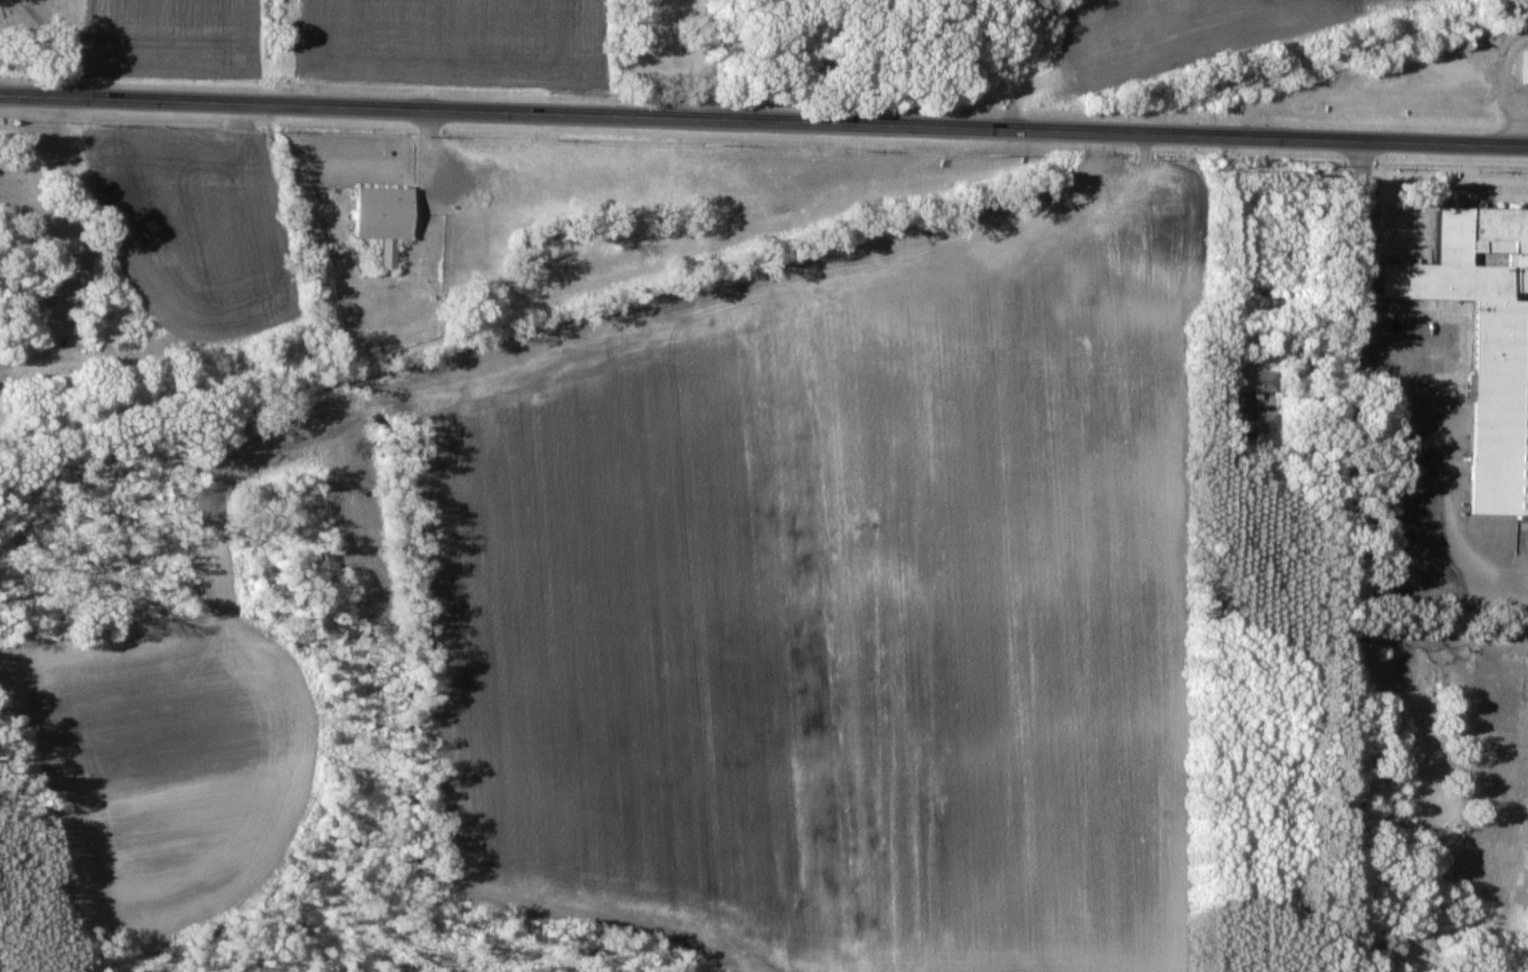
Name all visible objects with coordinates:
road: (39, 41)
road: (1013, 63)
building: (1527, 77)
road: (764, 119)
road: (1233, 251)
building: (1482, 341)
building: (1258, 381)

